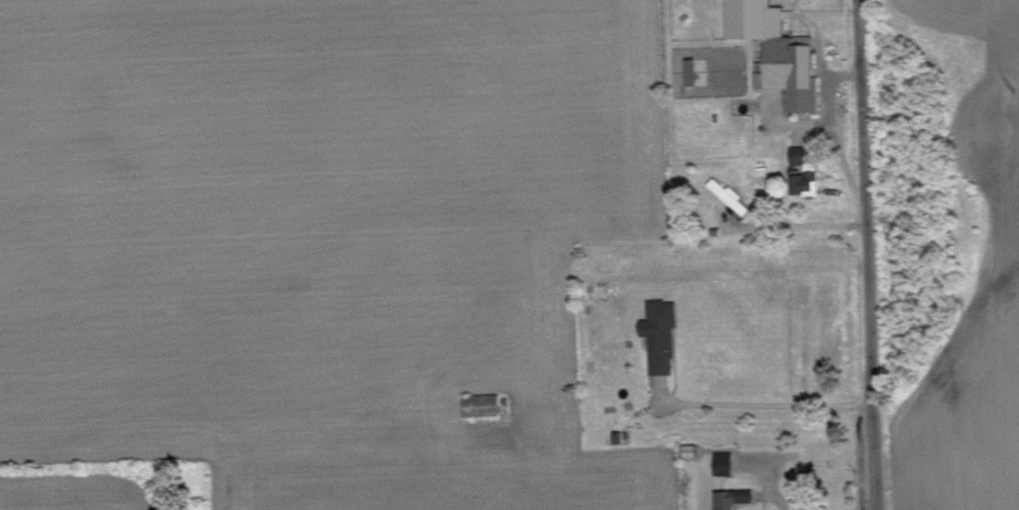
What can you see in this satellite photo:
building: (777, 51)
building: (691, 70)
building: (729, 194)
road: (800, 223)
road: (866, 255)
building: (666, 340)
road: (768, 408)
building: (730, 467)
road: (780, 491)
building: (739, 500)

